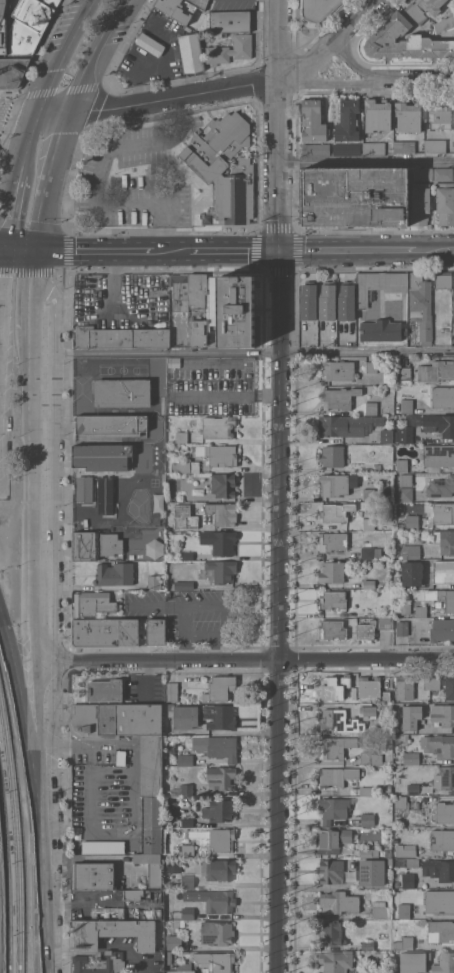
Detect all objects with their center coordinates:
building: (50, 3)
building: (199, 3)
building: (429, 5)
building: (1, 7)
building: (317, 9)
building: (176, 10)
building: (415, 12)
building: (32, 14)
building: (229, 20)
building: (444, 24)
road: (331, 27)
road: (291, 31)
building: (22, 38)
building: (3, 41)
road: (325, 41)
building: (404, 41)
building: (149, 46)
building: (230, 49)
road: (93, 53)
building: (190, 53)
road: (41, 55)
road: (351, 57)
building: (11, 72)
road: (49, 75)
road: (414, 80)
road: (328, 82)
road: (164, 87)
road: (84, 88)
road: (158, 99)
road: (10, 108)
building: (377, 114)
building: (440, 114)
building: (408, 116)
road: (7, 117)
building: (313, 120)
building: (347, 120)
road: (9, 123)
road: (280, 124)
road: (86, 130)
road: (64, 136)
building: (435, 145)
building: (404, 146)
building: (374, 147)
building: (346, 148)
building: (316, 149)
road: (367, 161)
building: (223, 170)
building: (423, 173)
building: (444, 173)
road: (98, 178)
road: (167, 195)
building: (355, 196)
building: (420, 202)
building: (445, 202)
road: (14, 203)
road: (45, 204)
road: (278, 226)
road: (52, 227)
road: (2, 248)
traffic signals: (4, 248)
road: (19, 248)
traffic signals: (34, 249)
road: (351, 249)
road: (439, 249)
road: (93, 250)
road: (171, 250)
road: (234, 250)
road: (261, 250)
traffic signals: (279, 250)
road: (296, 250)
road: (2, 256)
road: (29, 268)
road: (282, 273)
building: (442, 280)
building: (379, 284)
road: (28, 290)
building: (197, 290)
building: (180, 291)
building: (453, 297)
building: (308, 300)
building: (346, 300)
building: (327, 301)
building: (421, 306)
building: (232, 309)
building: (381, 330)
building: (197, 332)
building: (120, 337)
road: (254, 353)
building: (173, 363)
building: (371, 366)
building: (338, 369)
building: (436, 370)
building: (404, 373)
building: (386, 376)
building: (122, 382)
building: (122, 395)
building: (443, 396)
building: (339, 397)
building: (406, 405)
building: (371, 407)
building: (439, 423)
building: (348, 424)
building: (218, 426)
building: (110, 428)
building: (404, 434)
building: (386, 435)
building: (182, 436)
building: (216, 453)
building: (438, 454)
building: (332, 455)
building: (96, 456)
building: (358, 465)
building: (401, 465)
building: (188, 466)
building: (377, 467)
building: (405, 479)
building: (223, 484)
building: (334, 484)
building: (441, 486)
building: (388, 488)
building: (83, 491)
building: (368, 493)
building: (106, 494)
building: (405, 494)
building: (186, 495)
building: (336, 511)
building: (222, 512)
building: (443, 512)
building: (185, 516)
building: (412, 520)
building: (368, 523)
building: (332, 540)
building: (443, 540)
building: (219, 541)
building: (405, 547)
building: (96, 548)
building: (370, 552)
building: (186, 555)
road: (32, 567)
building: (222, 569)
building: (442, 570)
building: (332, 571)
building: (410, 573)
building: (114, 575)
building: (154, 582)
building: (369, 583)
building: (183, 584)
building: (333, 598)
building: (92, 603)
building: (449, 605)
building: (405, 607)
road: (279, 611)
building: (420, 611)
building: (369, 613)
building: (385, 622)
building: (333, 628)
building: (402, 628)
building: (366, 629)
building: (441, 629)
building: (154, 631)
building: (104, 632)
road: (259, 653)
road: (245, 660)
building: (431, 682)
building: (334, 685)
building: (368, 686)
building: (449, 686)
building: (220, 687)
building: (404, 687)
building: (105, 689)
building: (172, 691)
building: (386, 696)
road: (21, 705)
building: (366, 708)
building: (442, 713)
building: (185, 716)
building: (219, 716)
building: (411, 716)
building: (339, 721)
railway: (3, 727)
building: (402, 739)
building: (438, 744)
building: (335, 746)
building: (222, 747)
building: (411, 757)
building: (370, 758)
building: (185, 759)
building: (151, 767)
building: (336, 775)
building: (221, 777)
building: (444, 777)
building: (413, 788)
building: (181, 790)
building: (367, 790)
building: (406, 803)
building: (172, 808)
building: (219, 809)
building: (333, 809)
building: (444, 811)
building: (367, 819)
building: (186, 822)
building: (152, 824)
building: (219, 838)
building: (333, 839)
building: (442, 839)
building: (101, 846)
building: (186, 850)
building: (408, 850)
building: (369, 852)
railway: (16, 859)
building: (412, 861)
building: (220, 868)
building: (439, 868)
building: (331, 870)
building: (372, 871)
railway: (7, 873)
building: (154, 874)
building: (92, 875)
building: (407, 879)
building: (187, 881)
road: (41, 887)
building: (134, 893)
building: (216, 900)
building: (339, 901)
building: (439, 901)
building: (146, 908)
building: (380, 909)
building: (404, 910)
building: (187, 912)
building: (440, 931)
building: (216, 932)
building: (113, 933)
building: (331, 933)
building: (173, 941)
building: (404, 942)
building: (368, 945)
building: (168, 957)
building: (215, 961)
building: (336, 961)
building: (413, 961)
building: (98, 962)
building: (444, 963)
building: (182, 968)
building: (368, 971)

